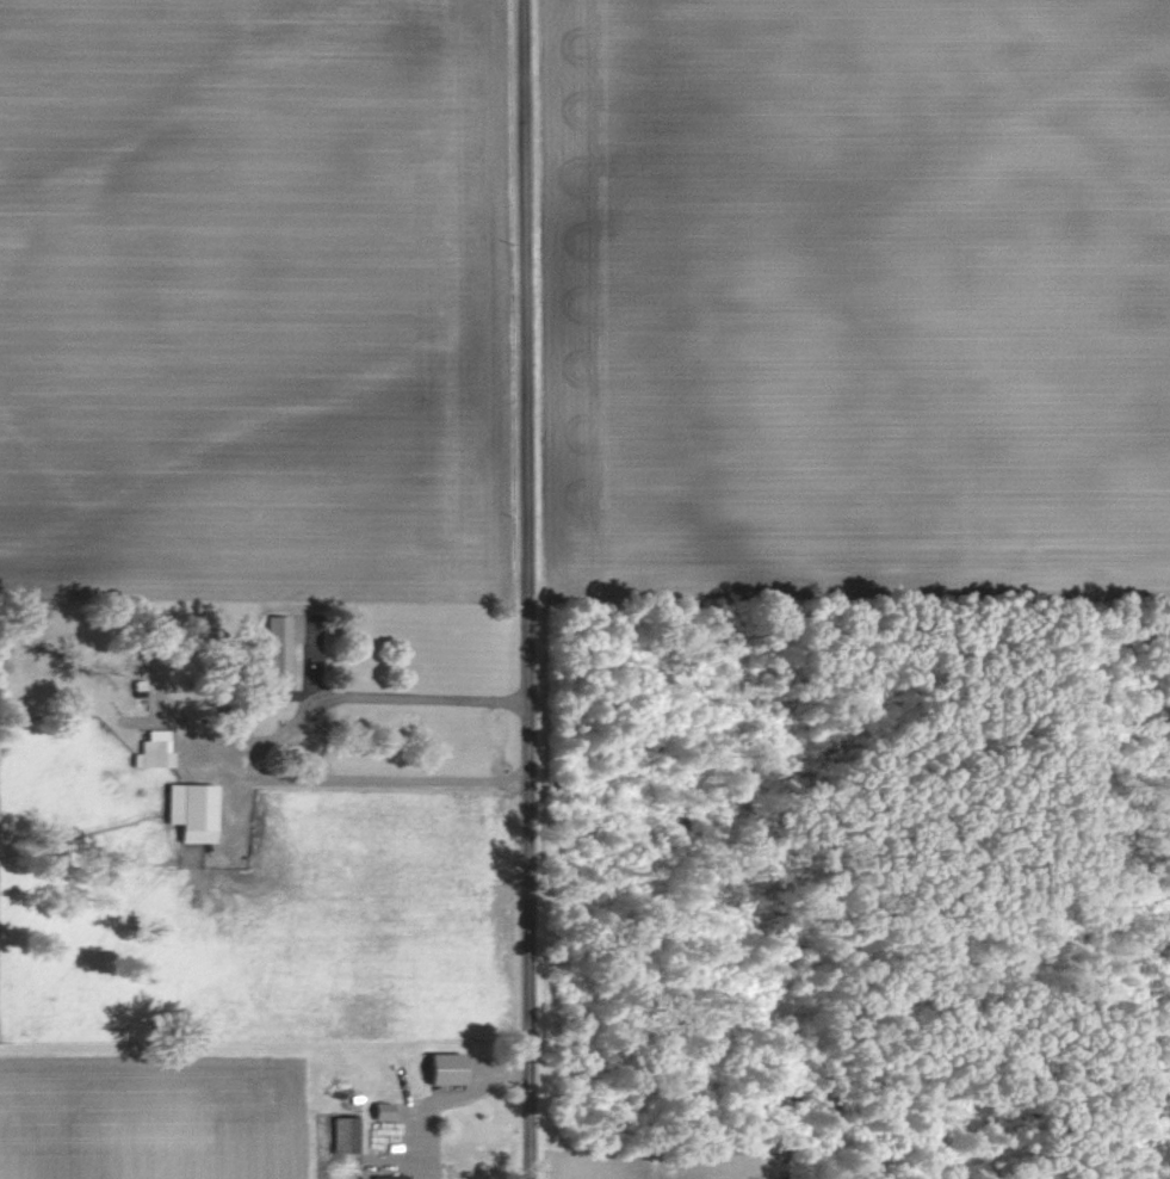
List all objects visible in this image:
road: (530, 588)
building: (274, 650)
road: (244, 742)
building: (154, 753)
building: (193, 810)
building: (446, 1067)
building: (384, 1110)
building: (348, 1134)

